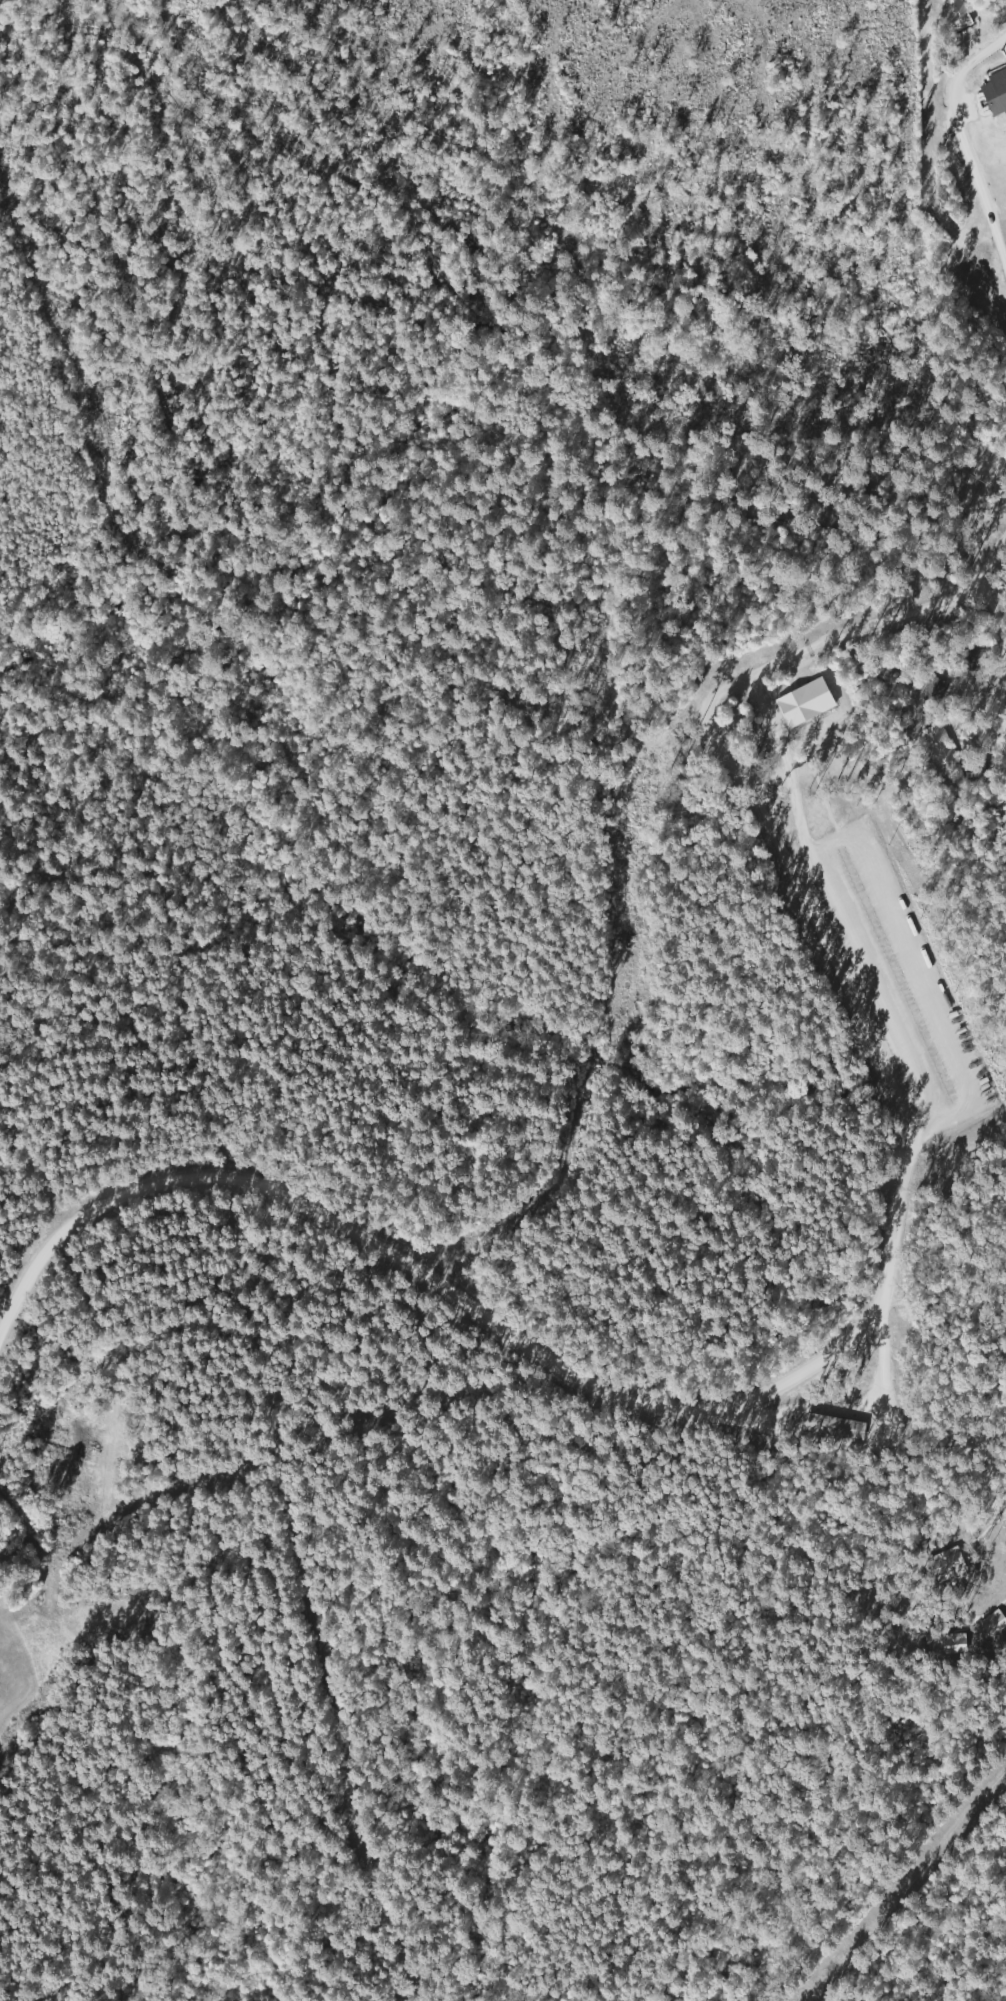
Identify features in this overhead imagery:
building: (953, 12)
building: (995, 91)
road: (960, 165)
road: (97, 600)
building: (931, 689)
road: (801, 890)
road: (853, 1333)

